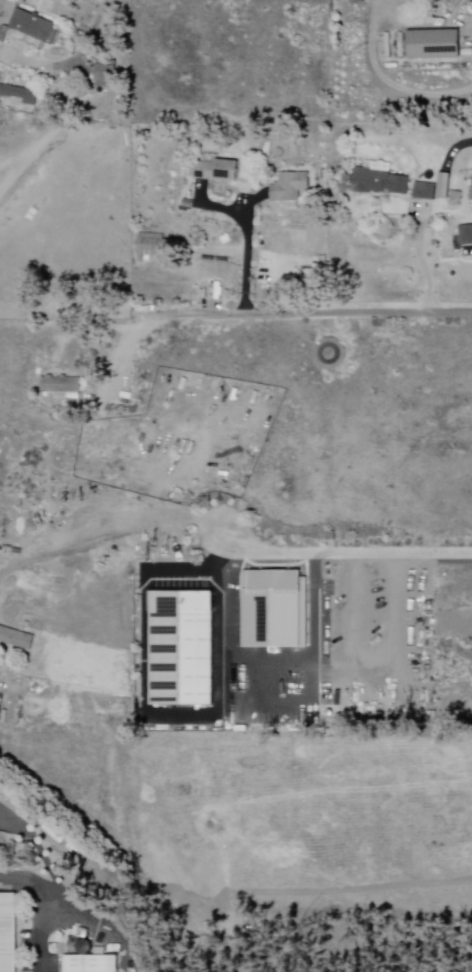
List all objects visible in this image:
building: (462, 0)
building: (400, 3)
building: (29, 28)
building: (433, 43)
road: (75, 61)
building: (105, 73)
building: (20, 93)
building: (214, 168)
building: (378, 179)
building: (444, 183)
building: (288, 186)
building: (425, 190)
building: (466, 236)
building: (156, 247)
building: (366, 248)
road: (248, 259)
road: (423, 263)
road: (355, 318)
road: (154, 325)
building: (62, 388)
road: (346, 554)
building: (447, 624)
building: (16, 638)
building: (181, 650)
building: (17, 808)
building: (457, 809)
building: (2, 839)
building: (387, 845)
road: (60, 890)
building: (8, 934)
building: (90, 964)

